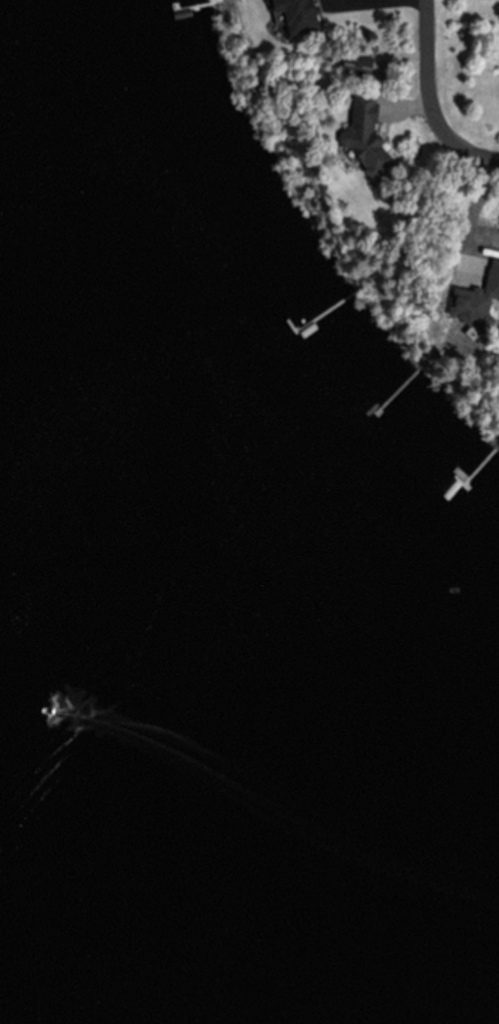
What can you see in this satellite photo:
road: (428, 75)
building: (374, 133)
road: (480, 147)

